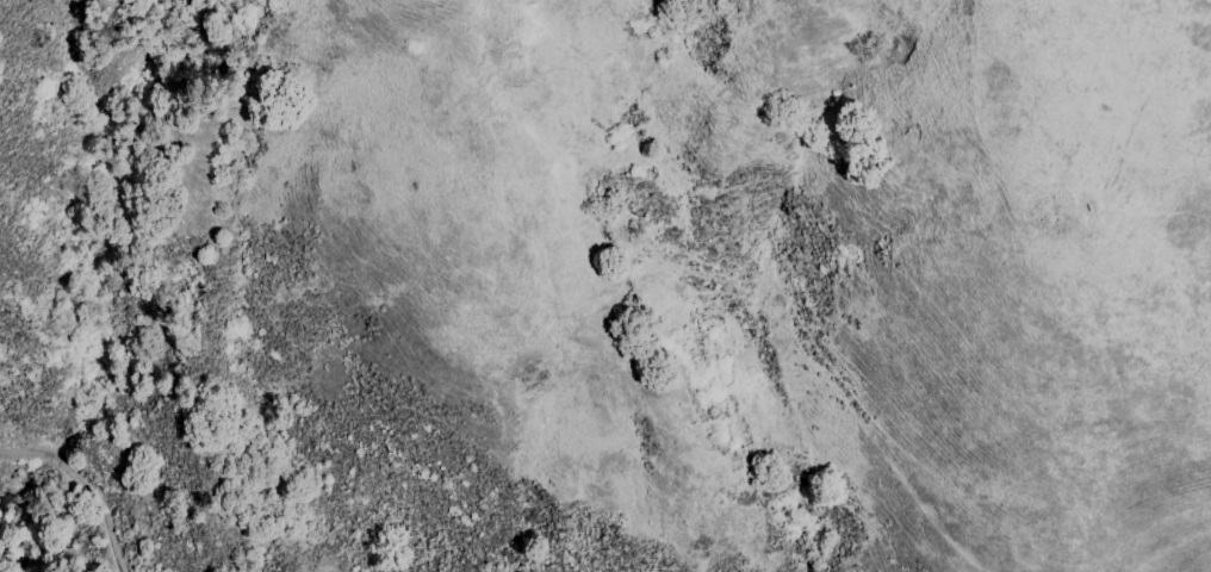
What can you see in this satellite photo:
park: (77, 418)
road: (83, 484)
park: (266, 549)

